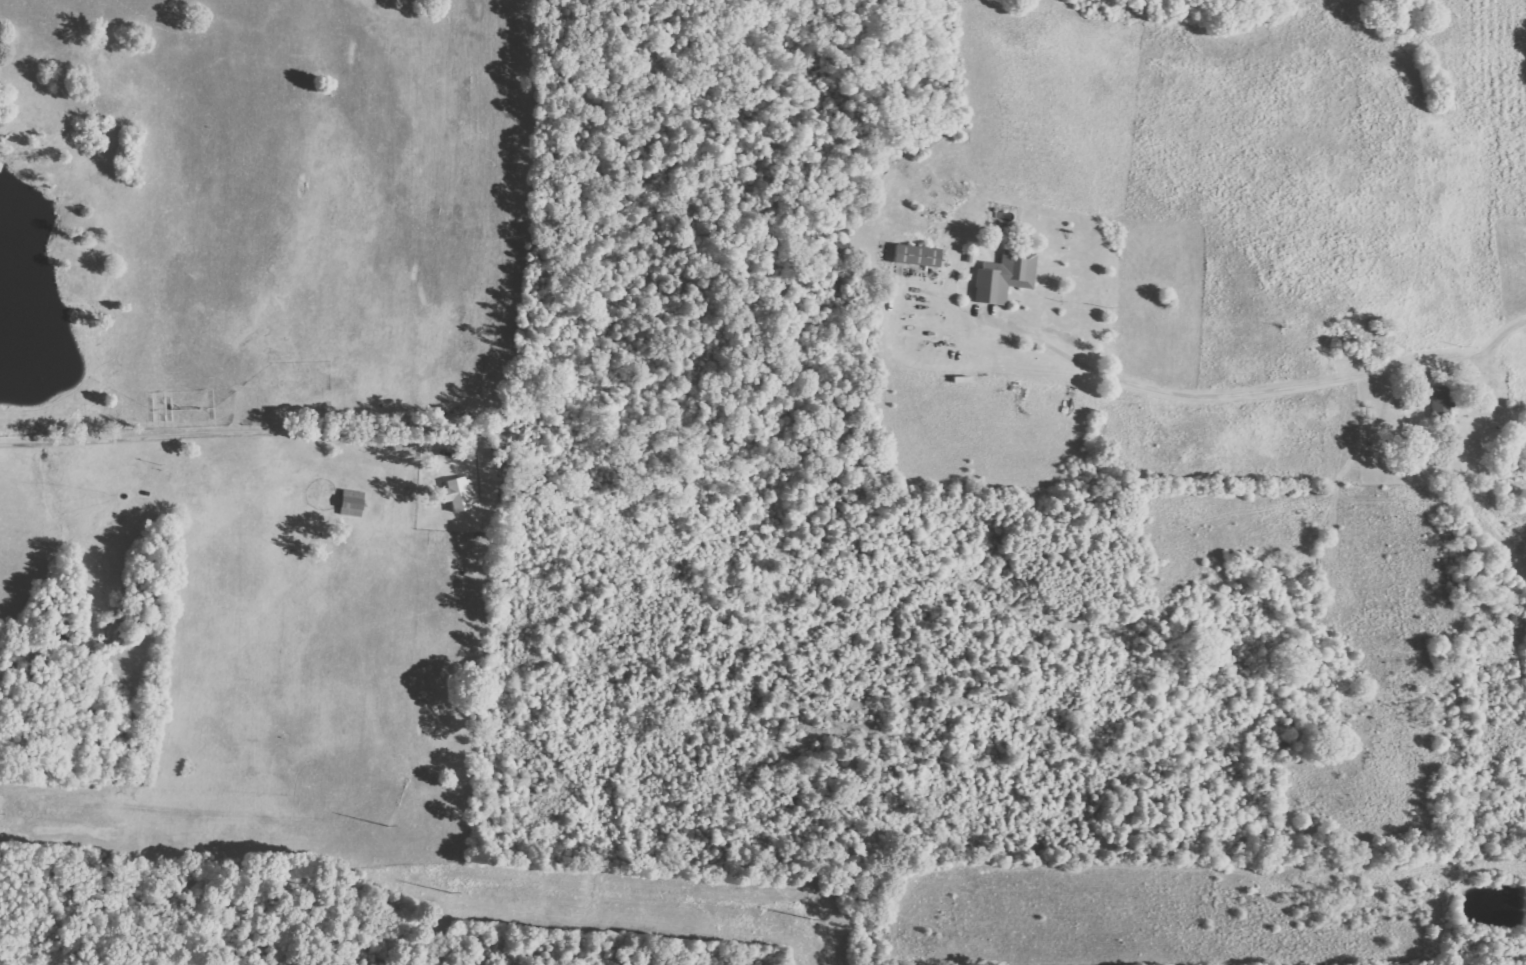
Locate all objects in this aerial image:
building: (914, 255)
building: (1004, 276)
road: (1511, 391)
building: (1437, 400)
building: (455, 494)
building: (351, 503)

